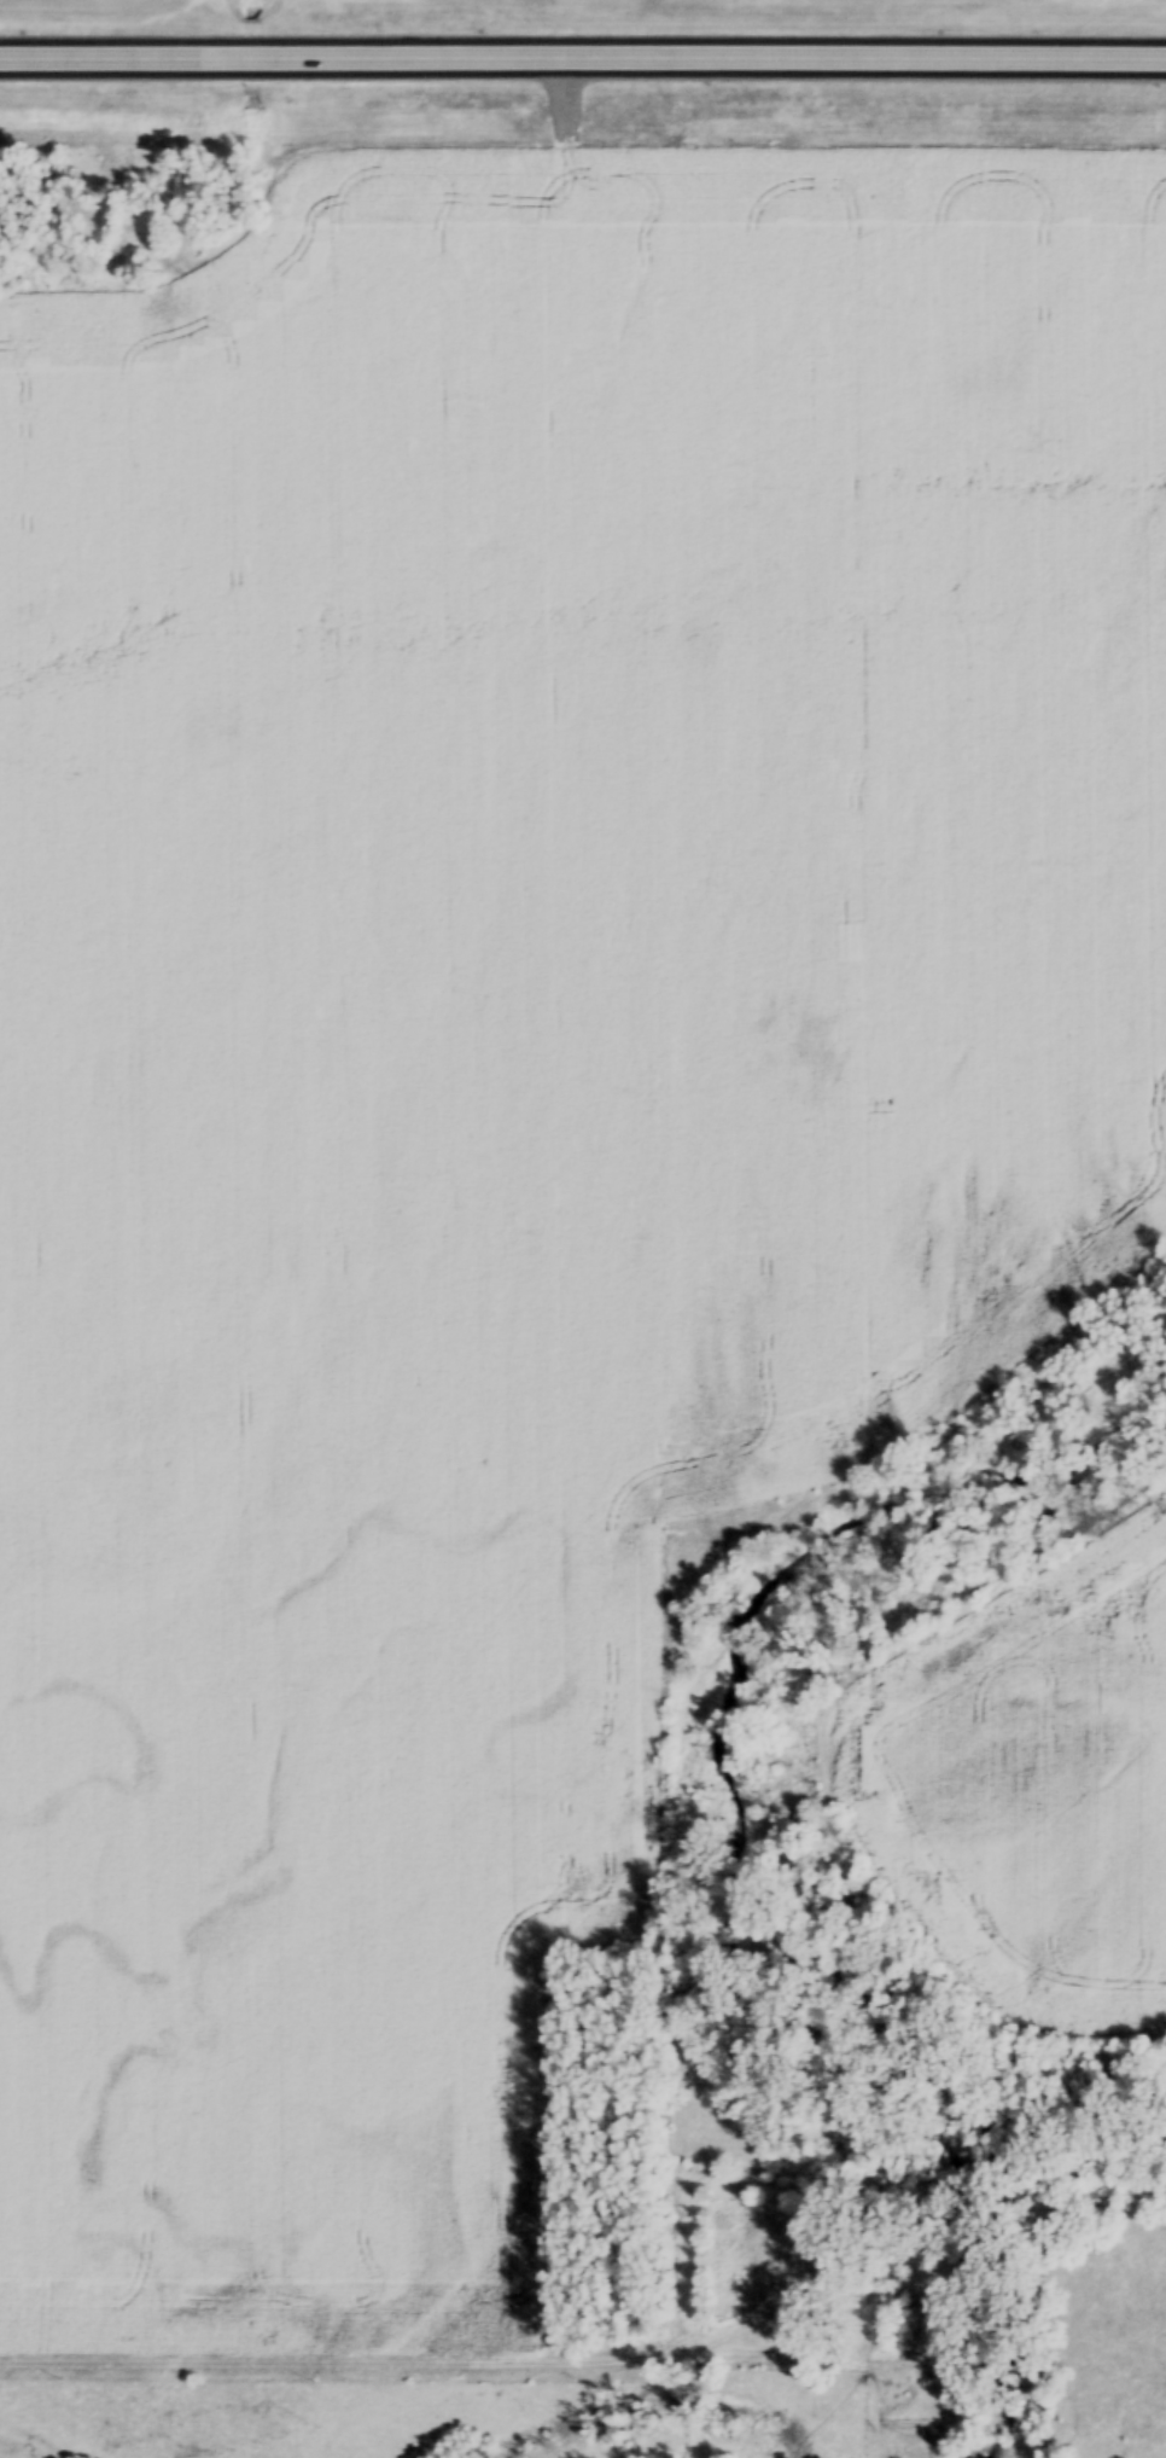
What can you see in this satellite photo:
road: (583, 52)
building: (786, 2255)
road: (740, 2324)
building: (911, 2329)
road: (346, 2360)

